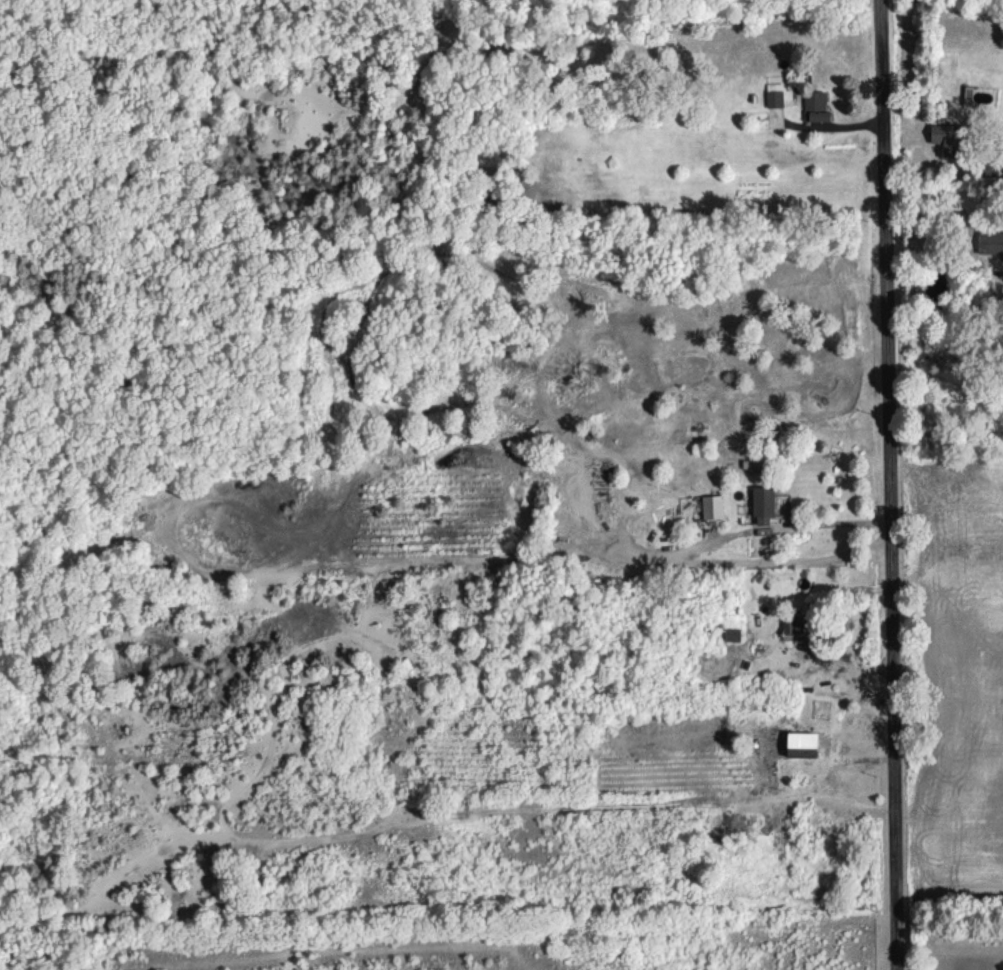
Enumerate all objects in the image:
building: (774, 95)
building: (815, 106)
building: (941, 137)
building: (989, 242)
road: (884, 485)
building: (762, 504)
building: (712, 506)
road: (681, 556)
building: (798, 745)
road: (948, 948)

